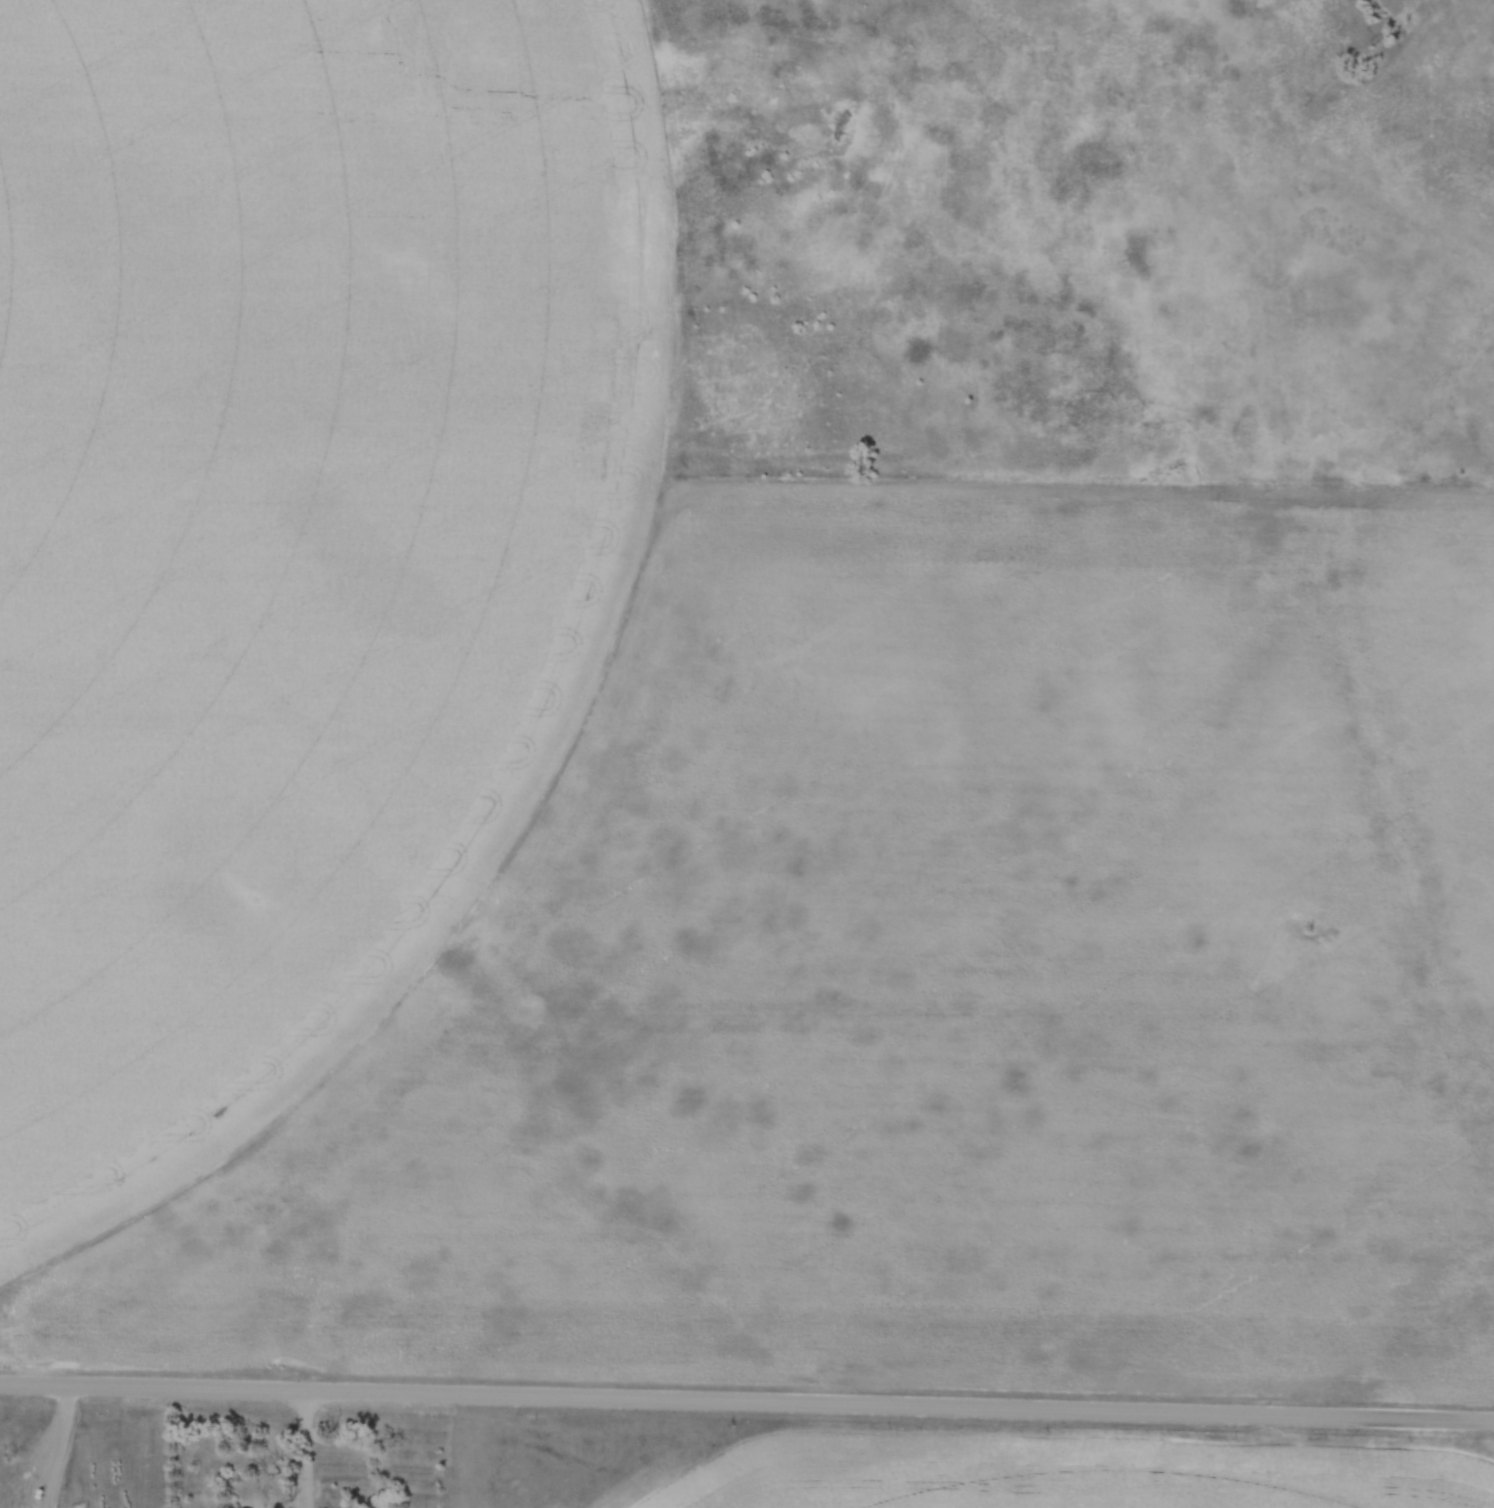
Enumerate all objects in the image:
road: (747, 1401)
road: (306, 1449)

